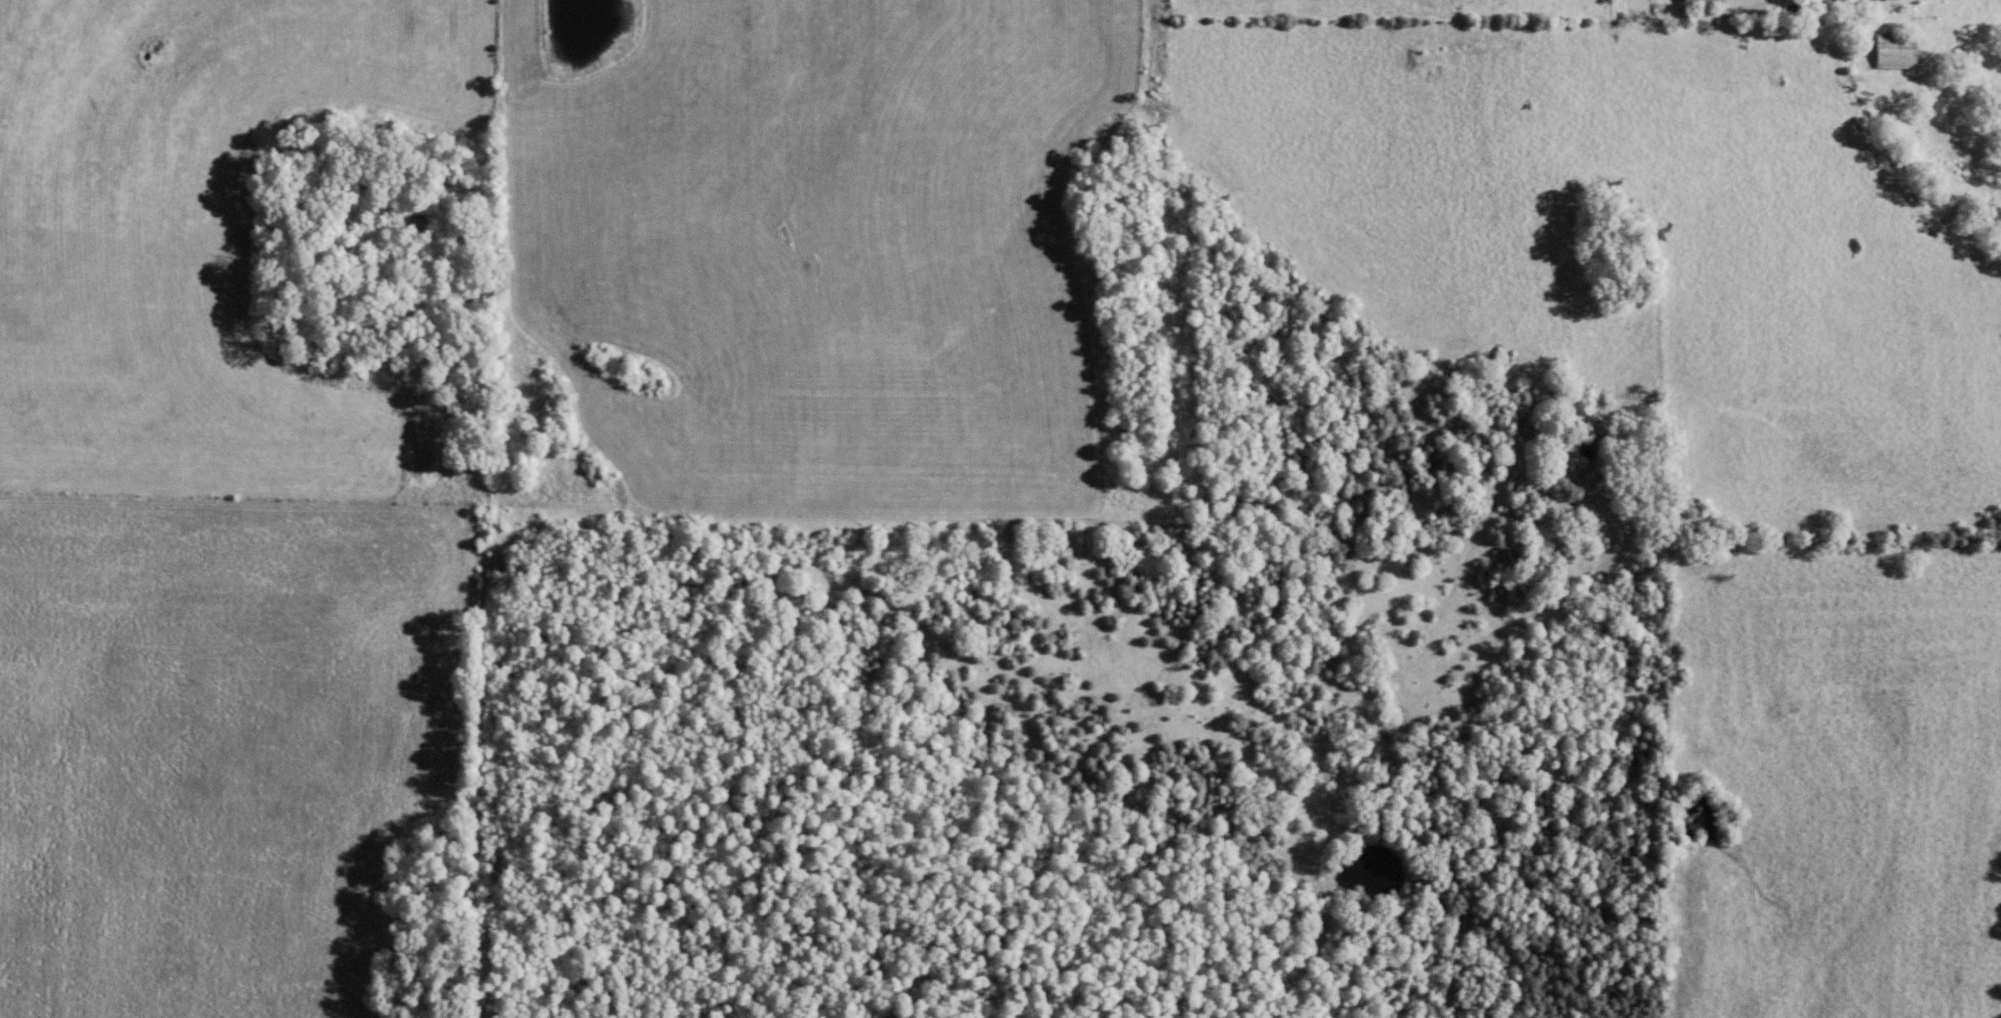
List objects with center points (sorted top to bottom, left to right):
building: (1703, 6)
building: (1896, 55)

